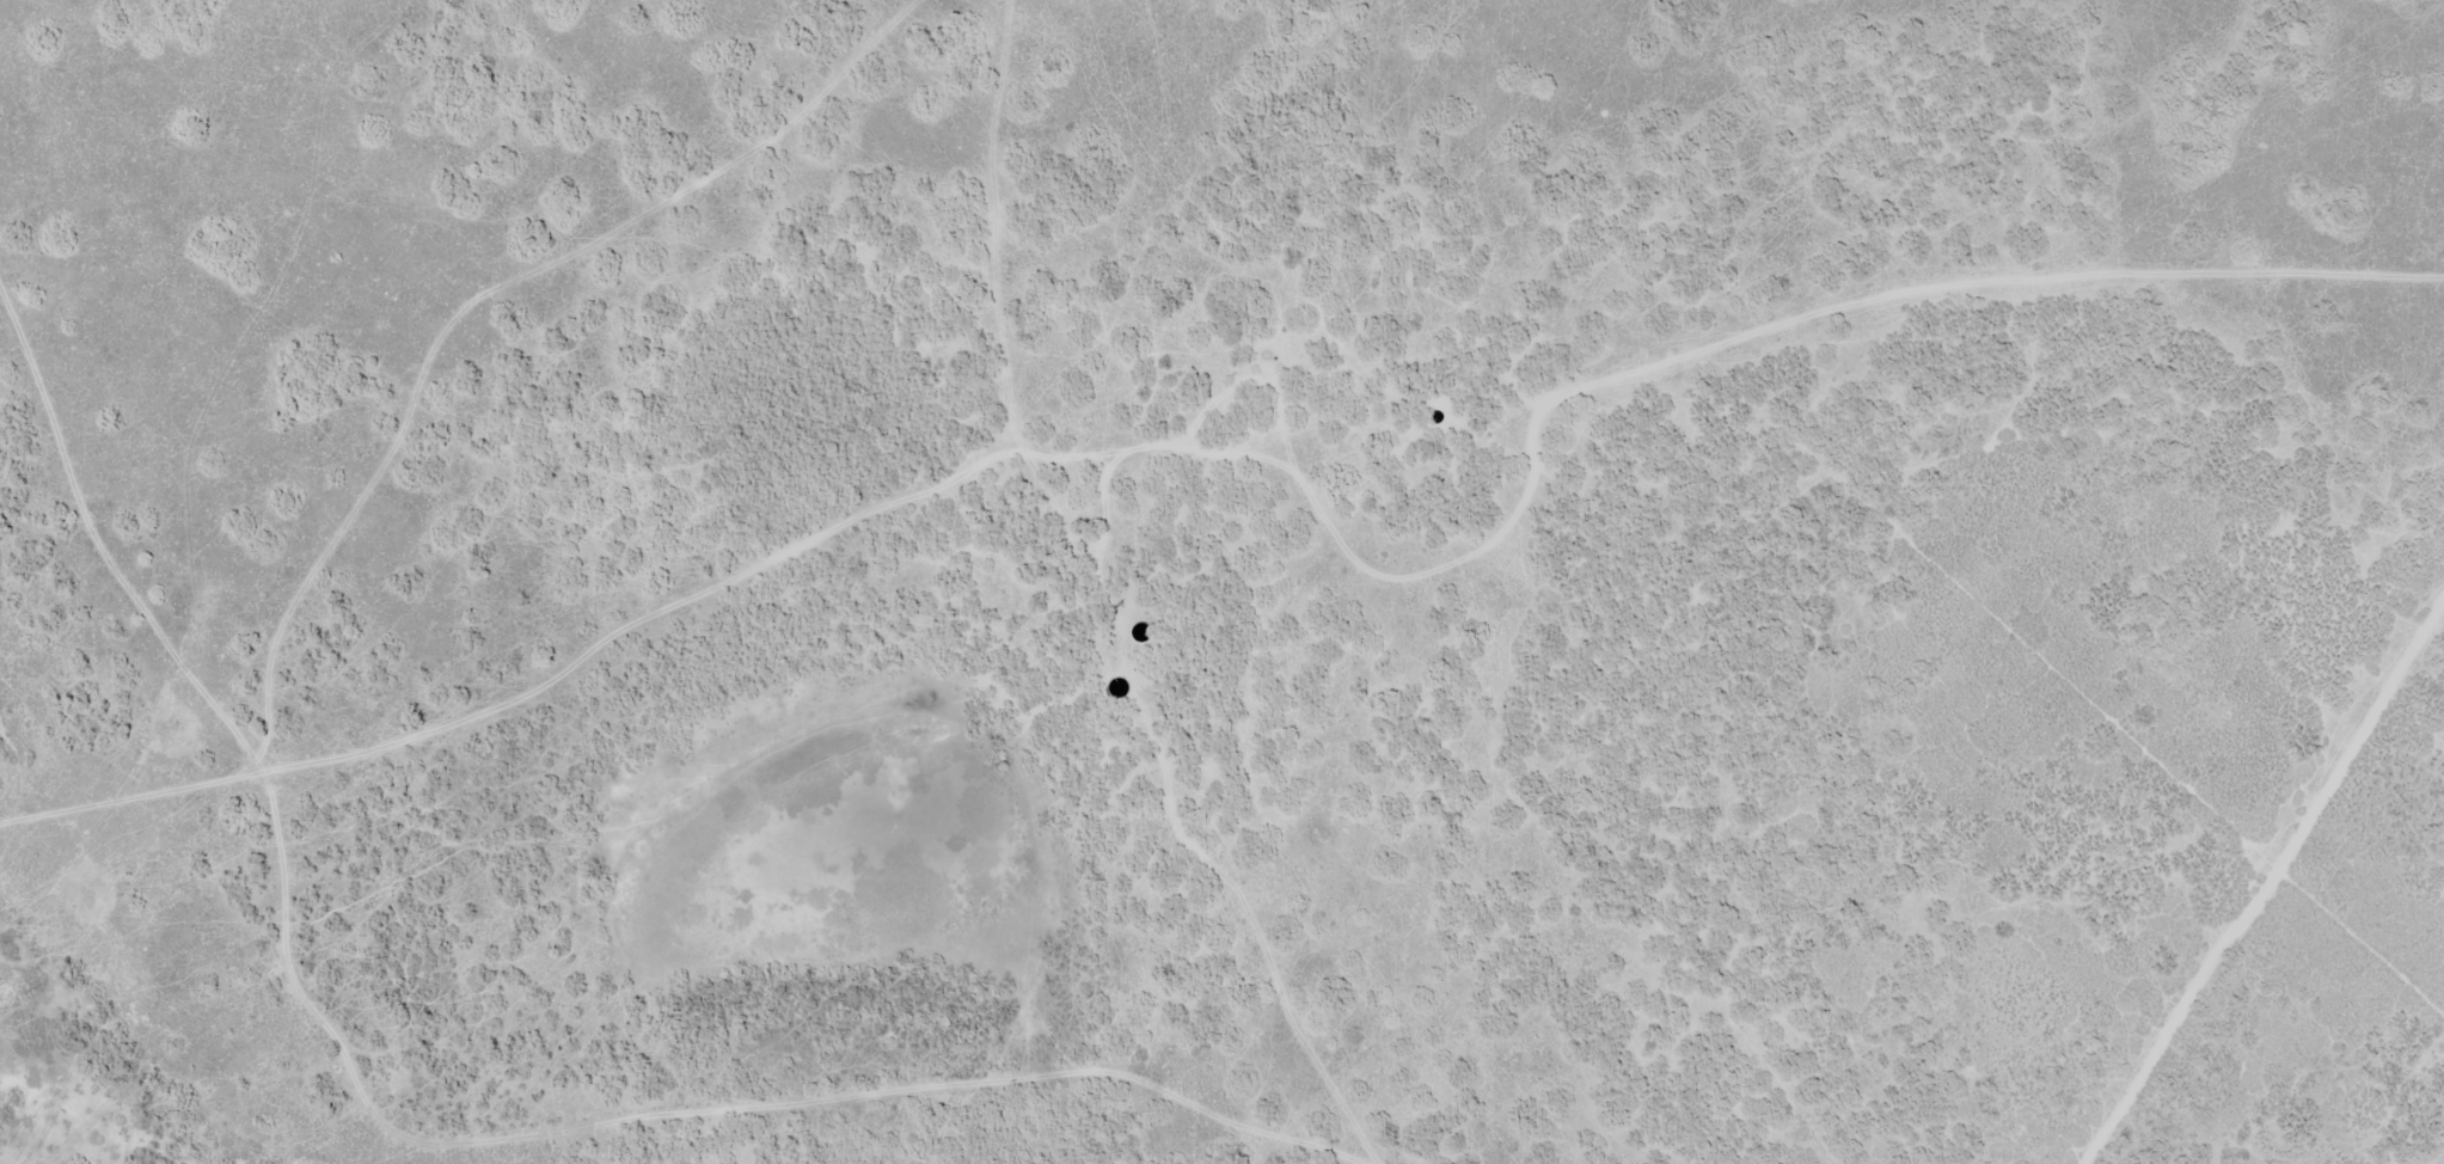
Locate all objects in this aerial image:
road: (918, 19)
road: (913, 78)
road: (620, 258)
road: (1713, 286)
road: (239, 699)

